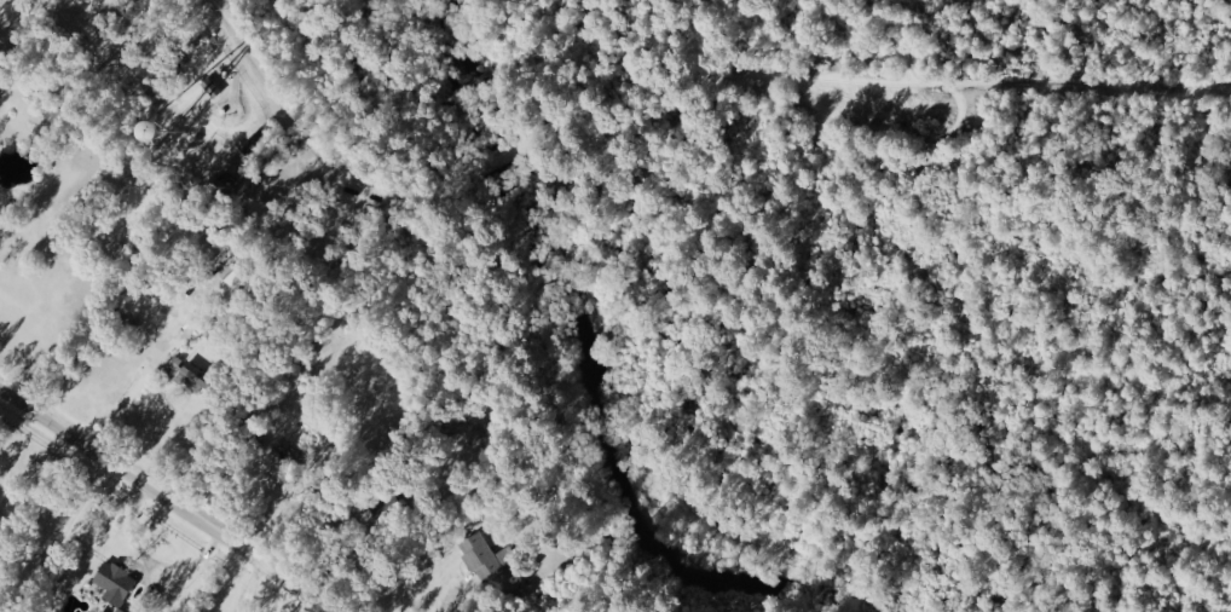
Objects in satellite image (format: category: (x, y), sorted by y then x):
road: (248, 75)
road: (862, 83)
road: (470, 171)
road: (359, 187)
building: (196, 376)
river: (583, 381)
road: (123, 410)
road: (162, 501)
building: (489, 556)
building: (120, 583)
road: (443, 604)

